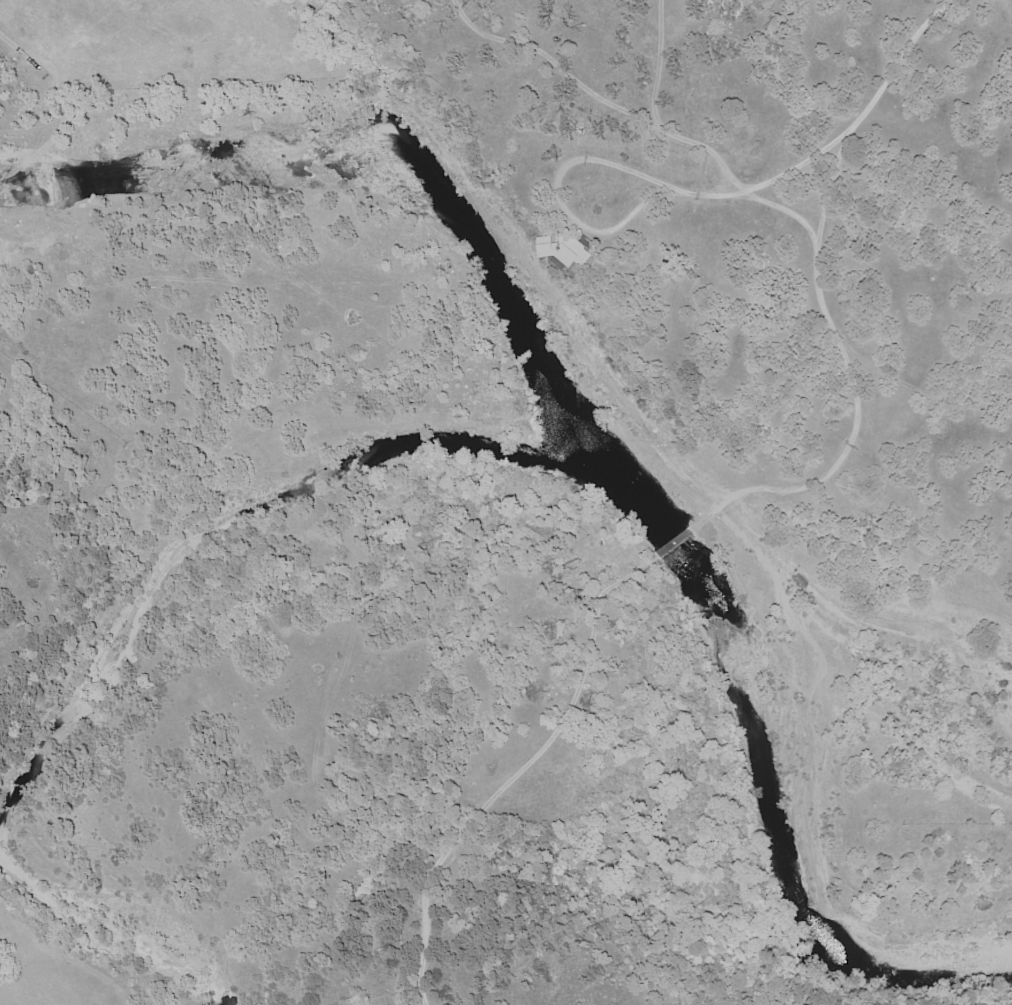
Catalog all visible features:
road: (836, 147)
road: (559, 196)
building: (565, 249)
building: (601, 264)

